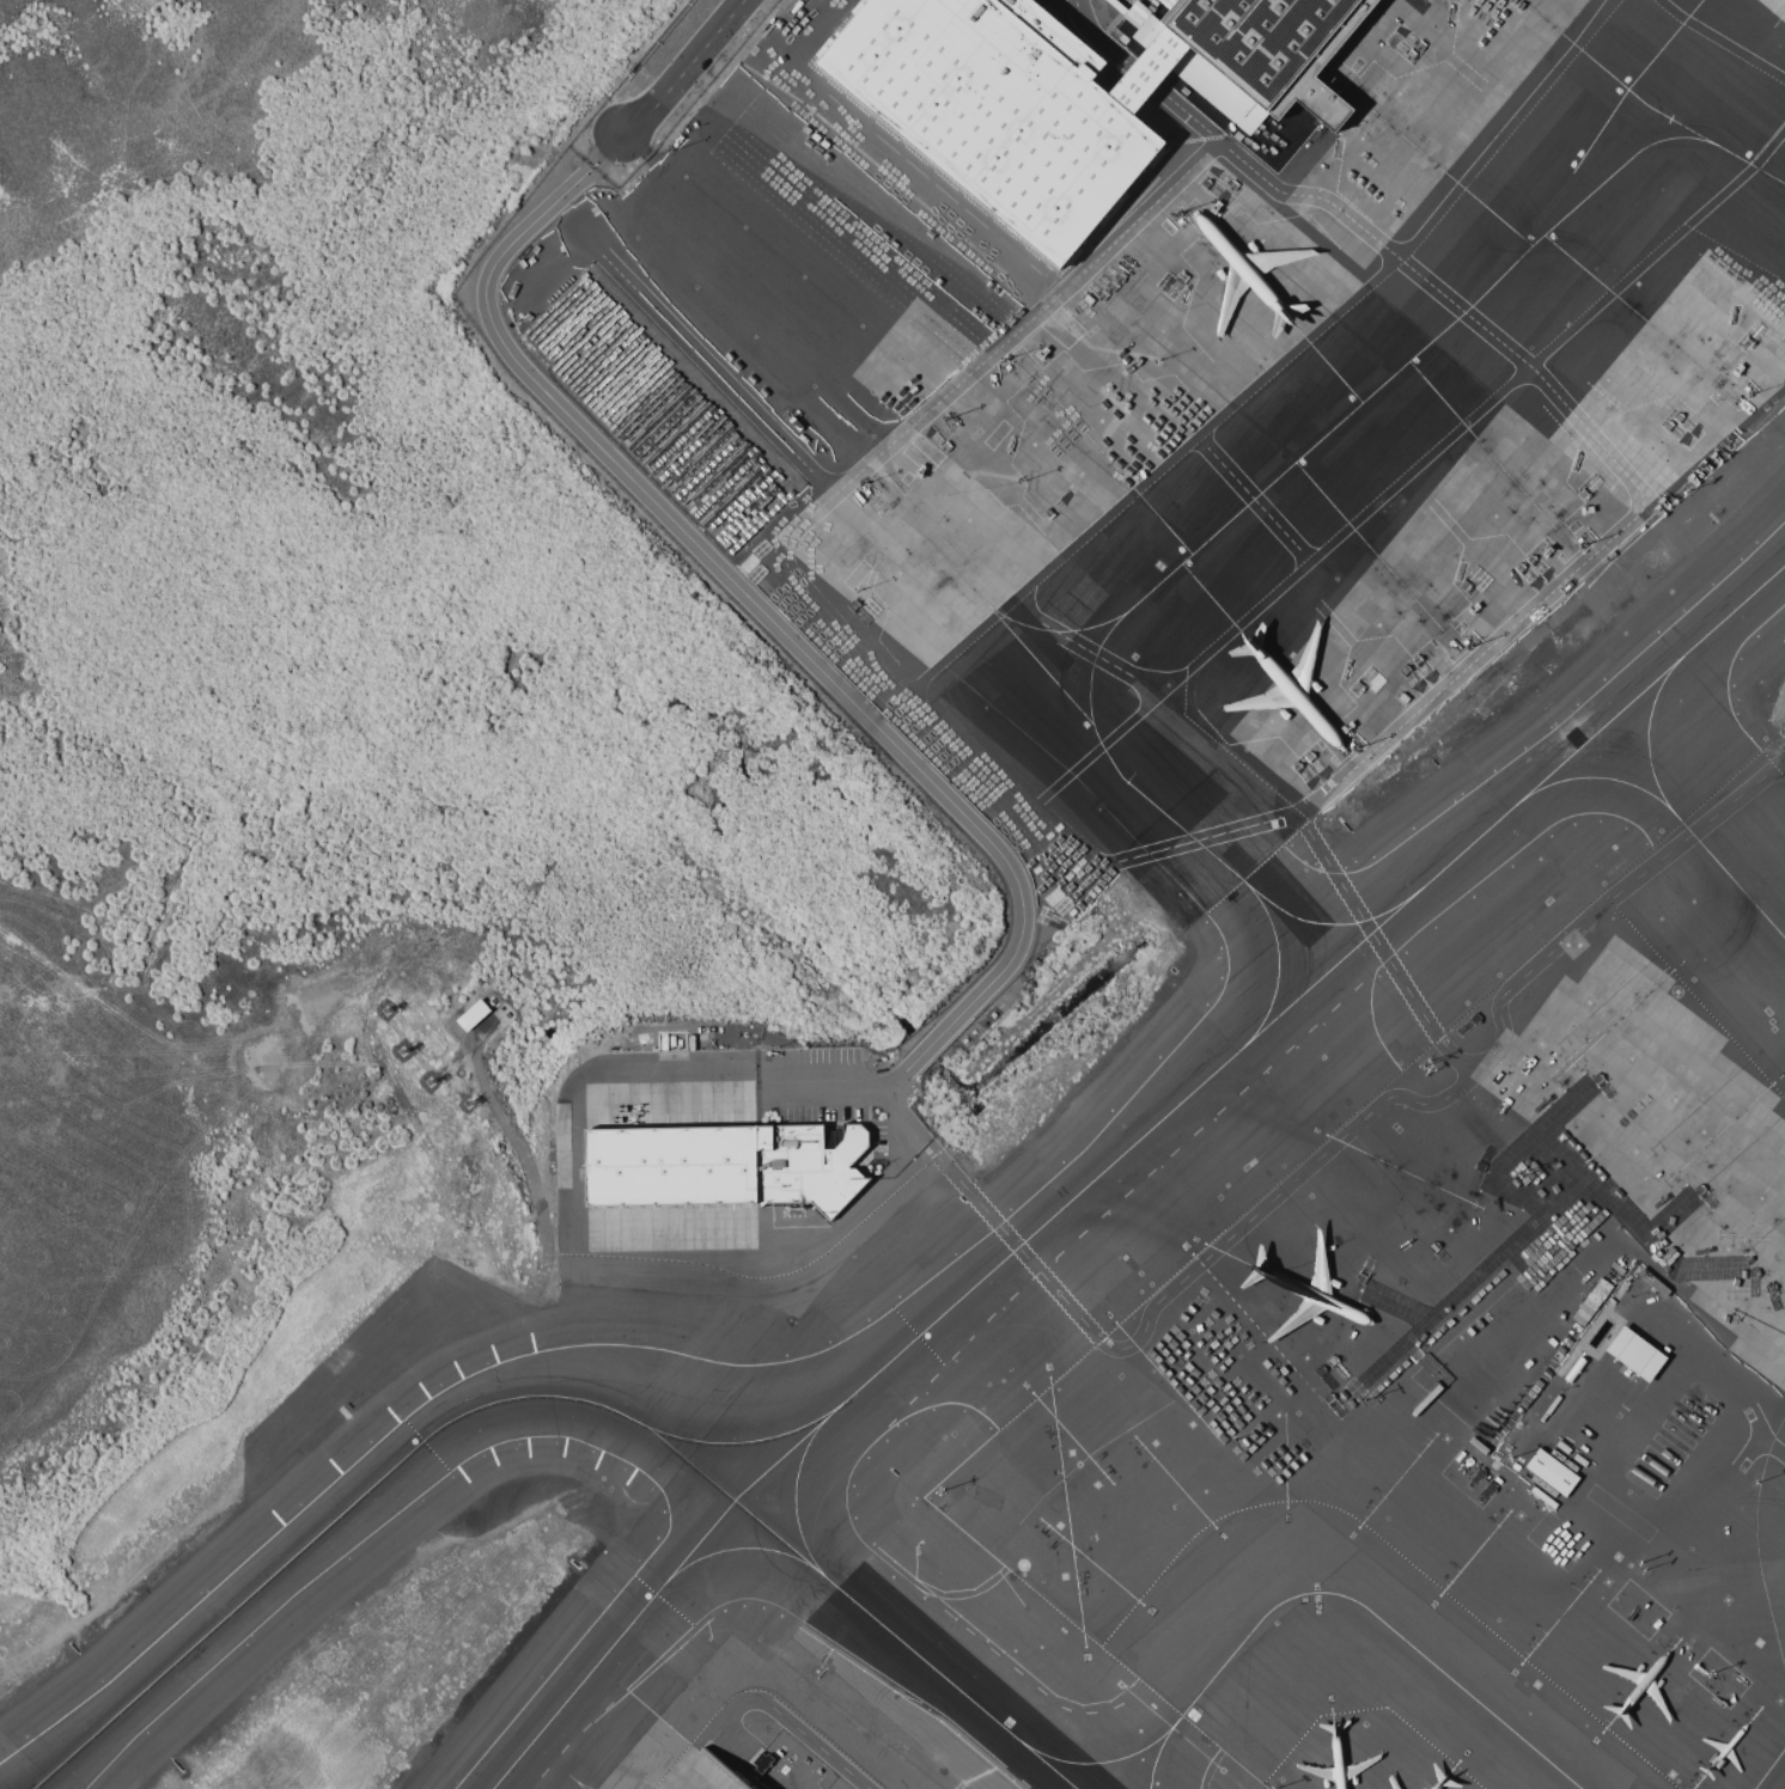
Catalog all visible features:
road: (1096, 37)
road: (1722, 41)
building: (1273, 47)
road: (683, 68)
road: (1143, 77)
building: (1006, 106)
airport taxiway: (1747, 163)
airport taxiway: (1425, 342)
road: (1279, 362)
airport apron: (1338, 422)
road: (1585, 429)
road: (1412, 469)
road: (1253, 499)
road: (790, 574)
road: (759, 609)
road: (1083, 647)
airport taxiway: (1649, 733)
airport taxiway: (1102, 749)
road: (1783, 764)
airport taxiway: (1597, 776)
airport taxiway: (1728, 874)
airport: (892, 894)
airport taxiway: (1328, 923)
road: (1372, 936)
airport taxiway: (1278, 960)
building: (473, 1014)
road: (817, 1085)
airport apron: (1659, 1135)
airport taxiway: (1119, 1156)
road: (1315, 1160)
building: (721, 1165)
building: (1634, 1353)
airport taxiway: (678, 1394)
airport taxiway: (609, 1408)
road: (1759, 1439)
road: (1772, 1446)
building: (1549, 1471)
road: (1399, 1477)
airport taxiway: (796, 1498)
airport taxiway: (731, 1549)
airport taxiway: (243, 1600)
airport taxiway: (1382, 1620)
airport taxiway: (906, 1644)
road: (797, 1728)
road: (738, 1734)
airport taxiway: (1159, 1750)
airport apron: (770, 1751)
building: (761, 1760)
airport taxiway: (1103, 1763)

